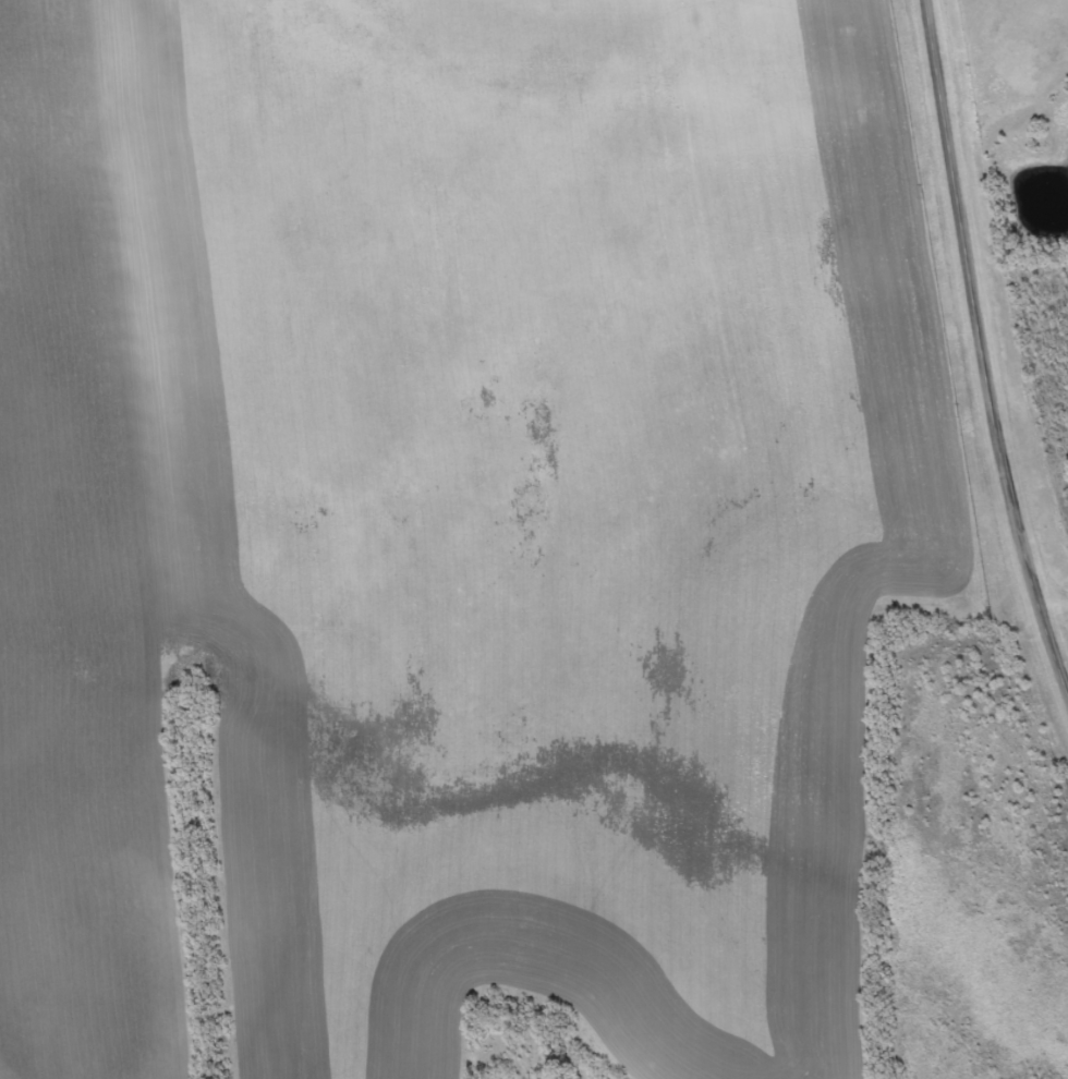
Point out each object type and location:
road: (983, 343)
road: (1054, 614)

